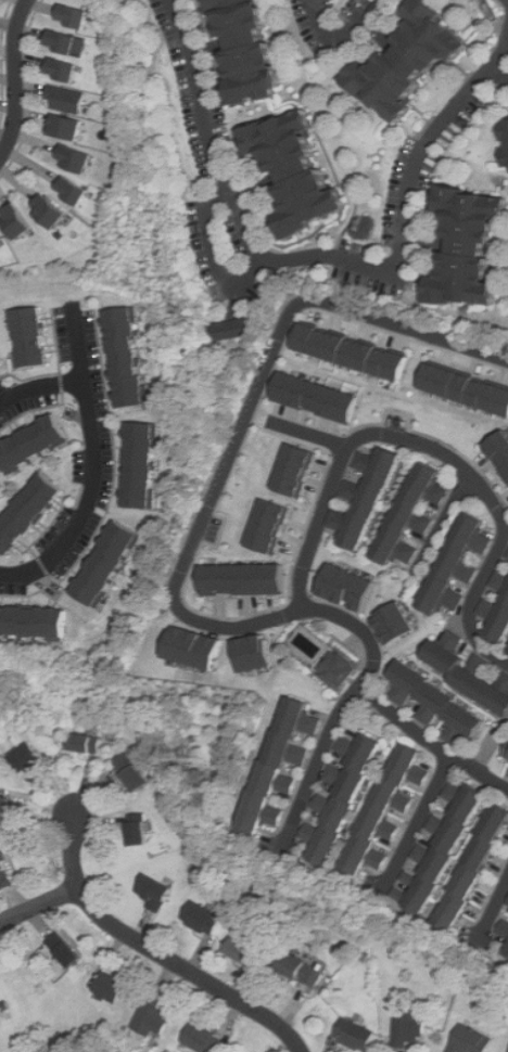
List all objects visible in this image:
building: (76, 16)
road: (339, 39)
building: (65, 42)
building: (252, 50)
building: (415, 59)
building: (66, 69)
road: (496, 72)
road: (14, 79)
road: (27, 90)
building: (67, 100)
building: (67, 126)
building: (507, 130)
building: (75, 159)
building: (293, 175)
building: (77, 190)
building: (53, 211)
building: (21, 221)
building: (1, 236)
road: (327, 246)
building: (472, 246)
road: (218, 257)
building: (236, 329)
building: (27, 337)
building: (348, 351)
building: (127, 357)
building: (1, 361)
road: (43, 386)
building: (465, 388)
building: (316, 398)
road: (310, 435)
building: (30, 442)
road: (436, 450)
building: (498, 453)
building: (140, 465)
building: (294, 470)
road: (101, 473)
road: (221, 473)
building: (367, 497)
building: (27, 512)
building: (412, 514)
road: (442, 523)
building: (268, 525)
building: (507, 556)
building: (106, 563)
building: (459, 564)
building: (243, 579)
building: (501, 579)
building: (346, 588)
building: (496, 616)
building: (35, 621)
building: (395, 623)
building: (194, 647)
building: (253, 653)
building: (333, 669)
building: (470, 671)
building: (440, 704)
building: (87, 743)
road: (431, 743)
building: (26, 754)
building: (506, 754)
road: (318, 765)
building: (281, 766)
building: (135, 773)
building: (342, 795)
building: (391, 806)
building: (8, 809)
road: (420, 823)
building: (139, 830)
building: (445, 843)
building: (472, 869)
building: (7, 873)
building: (156, 891)
road: (39, 905)
road: (495, 910)
building: (203, 919)
building: (504, 926)
building: (506, 949)
building: (68, 950)
building: (245, 950)
road: (156, 952)
building: (305, 971)
building: (112, 988)
building: (153, 1017)
building: (409, 1028)
building: (357, 1035)
building: (203, 1039)
building: (472, 1040)

